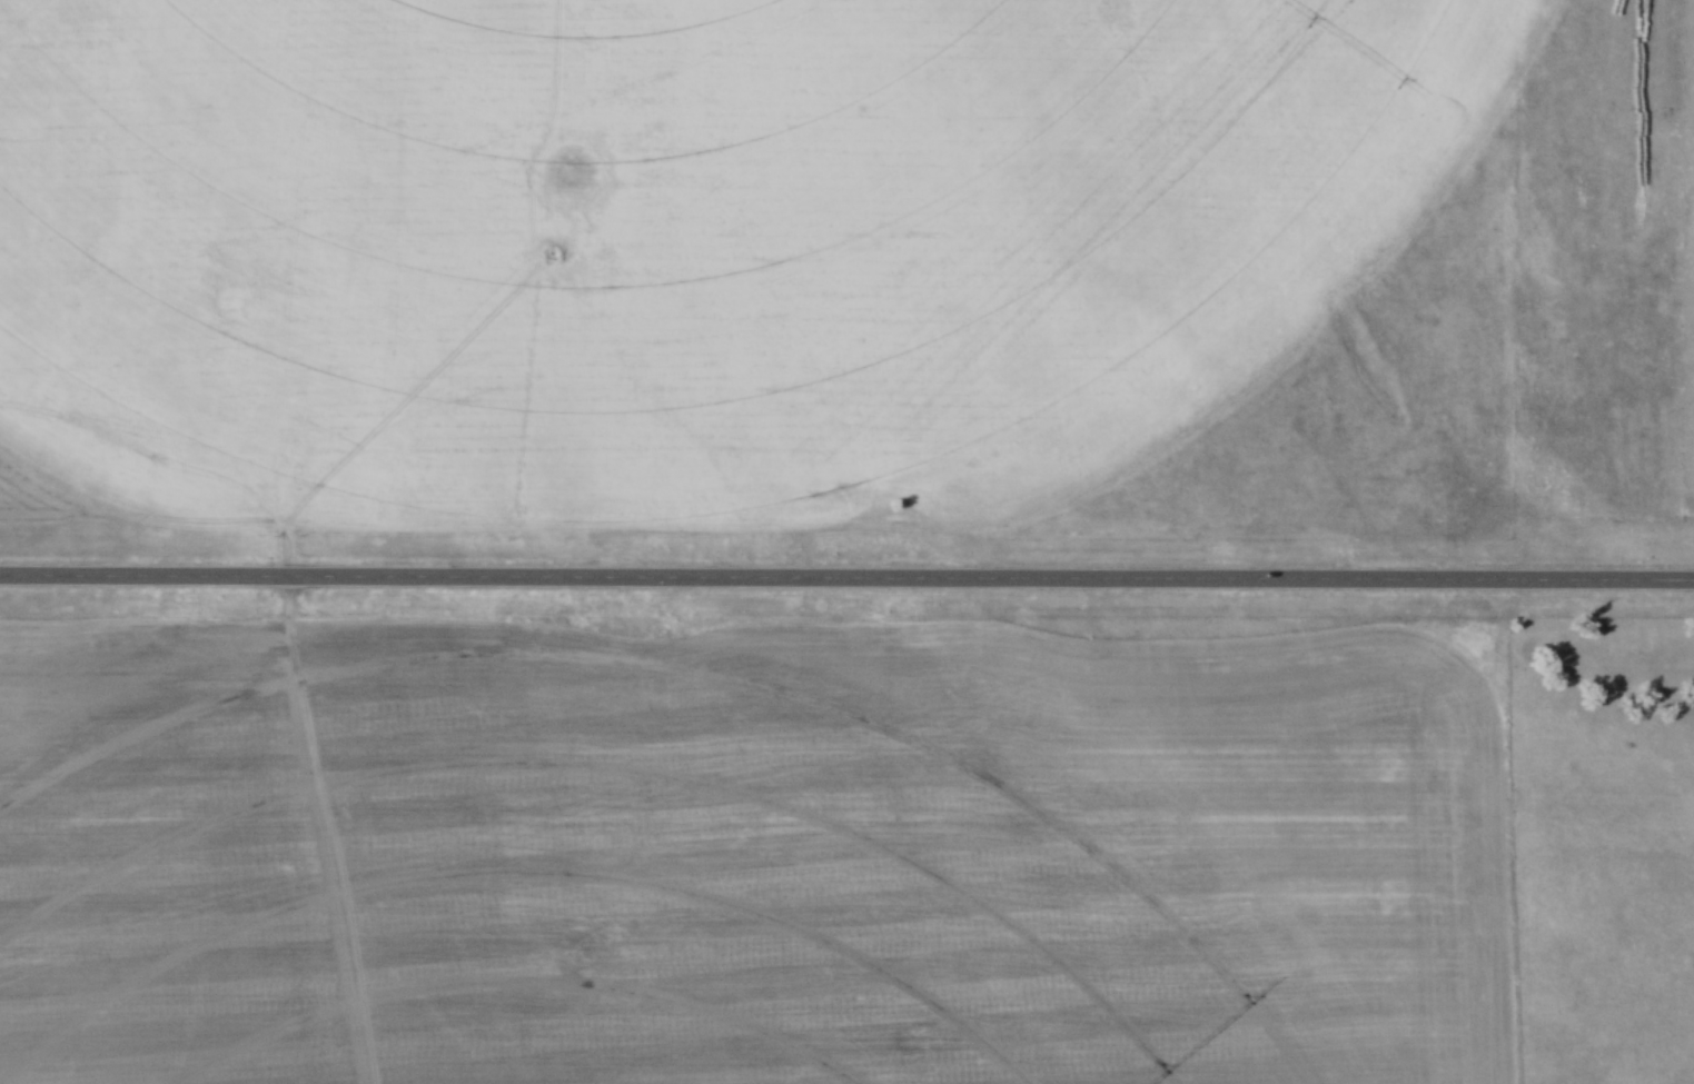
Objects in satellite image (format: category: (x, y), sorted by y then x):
road: (846, 573)

